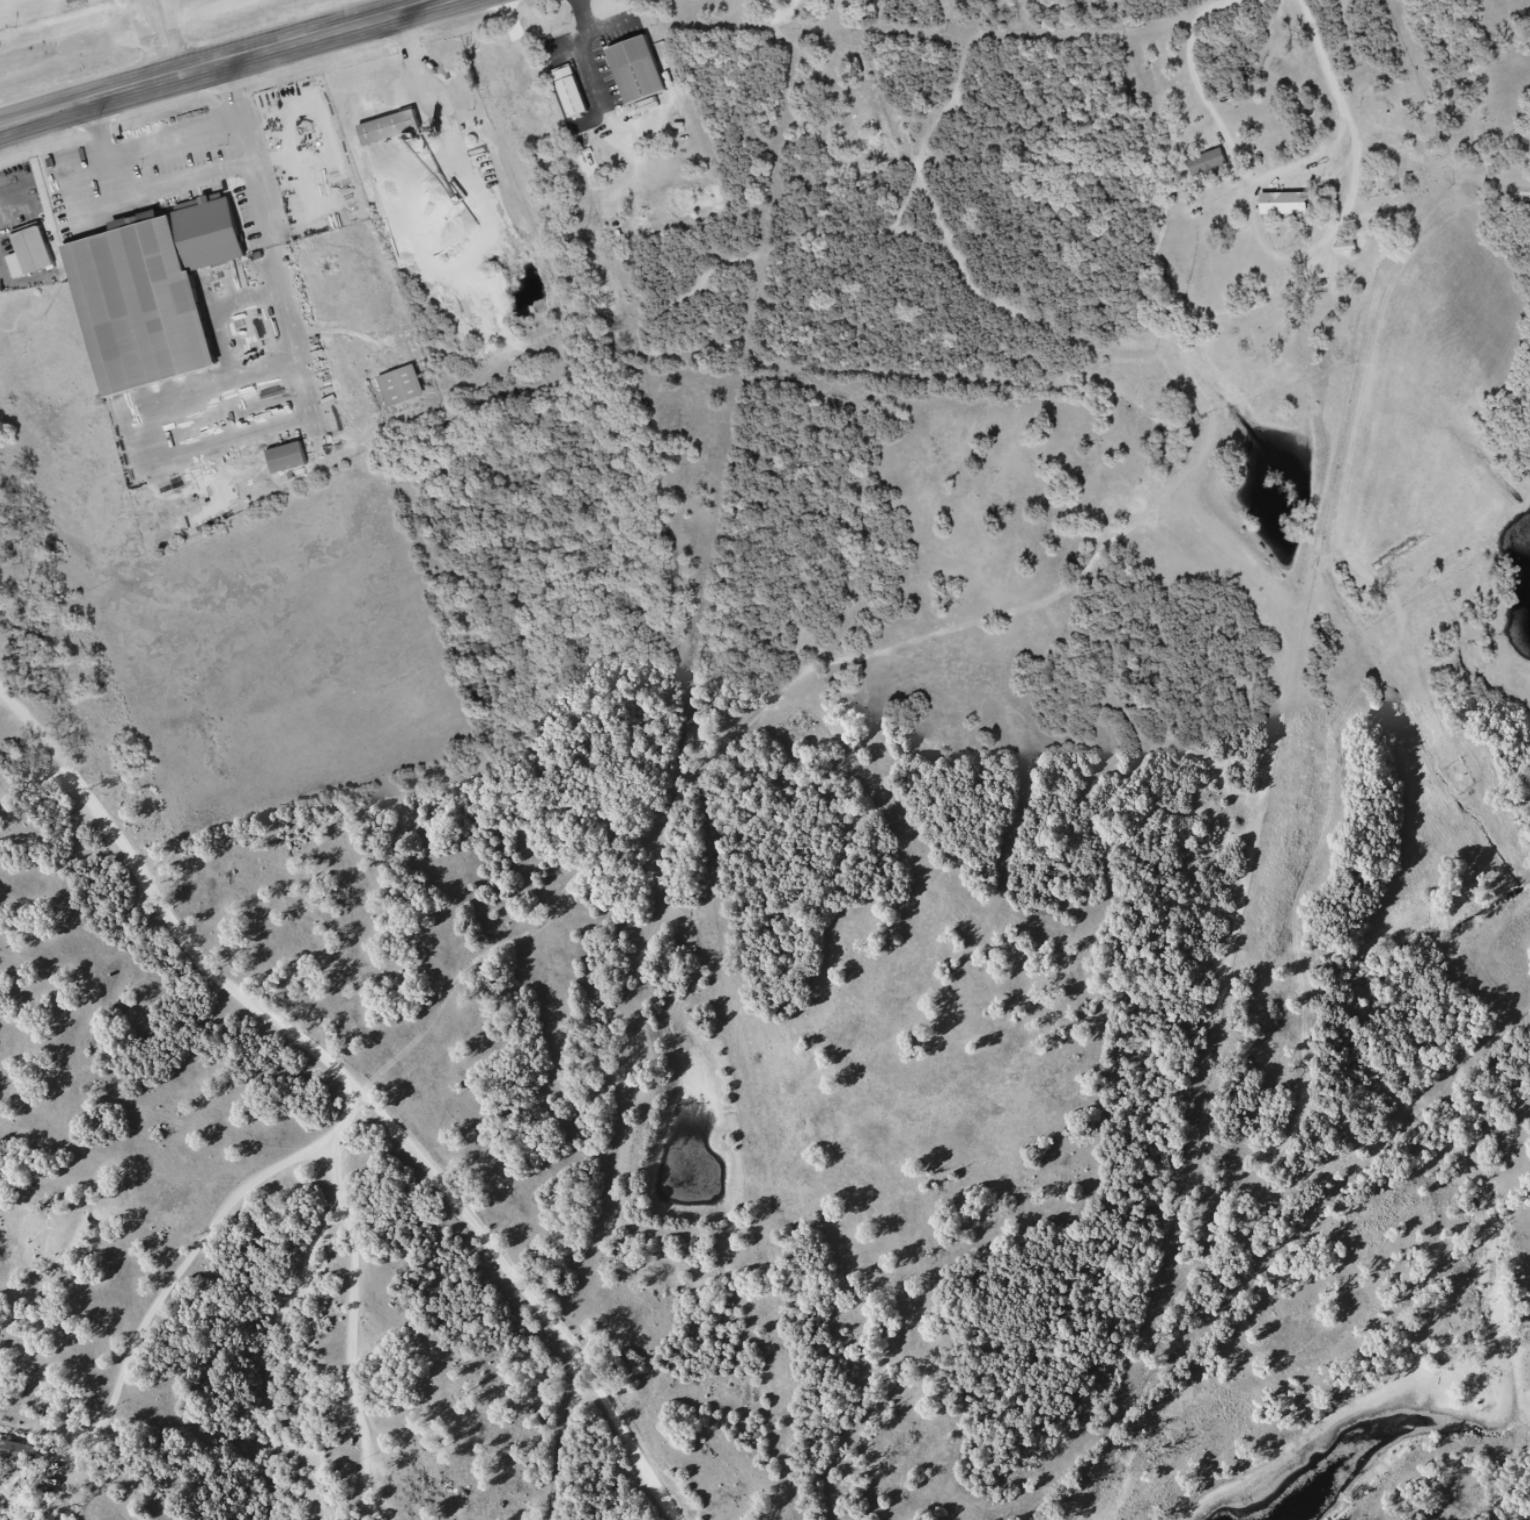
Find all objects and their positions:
building: (815, 2)
road: (172, 39)
road: (149, 42)
road: (231, 65)
building: (642, 78)
building: (575, 98)
building: (396, 136)
building: (1215, 169)
building: (1284, 198)
building: (1290, 210)
building: (36, 251)
building: (145, 294)
road: (1140, 346)
building: (409, 394)
building: (294, 465)
road: (361, 1081)
building: (17, 1450)

